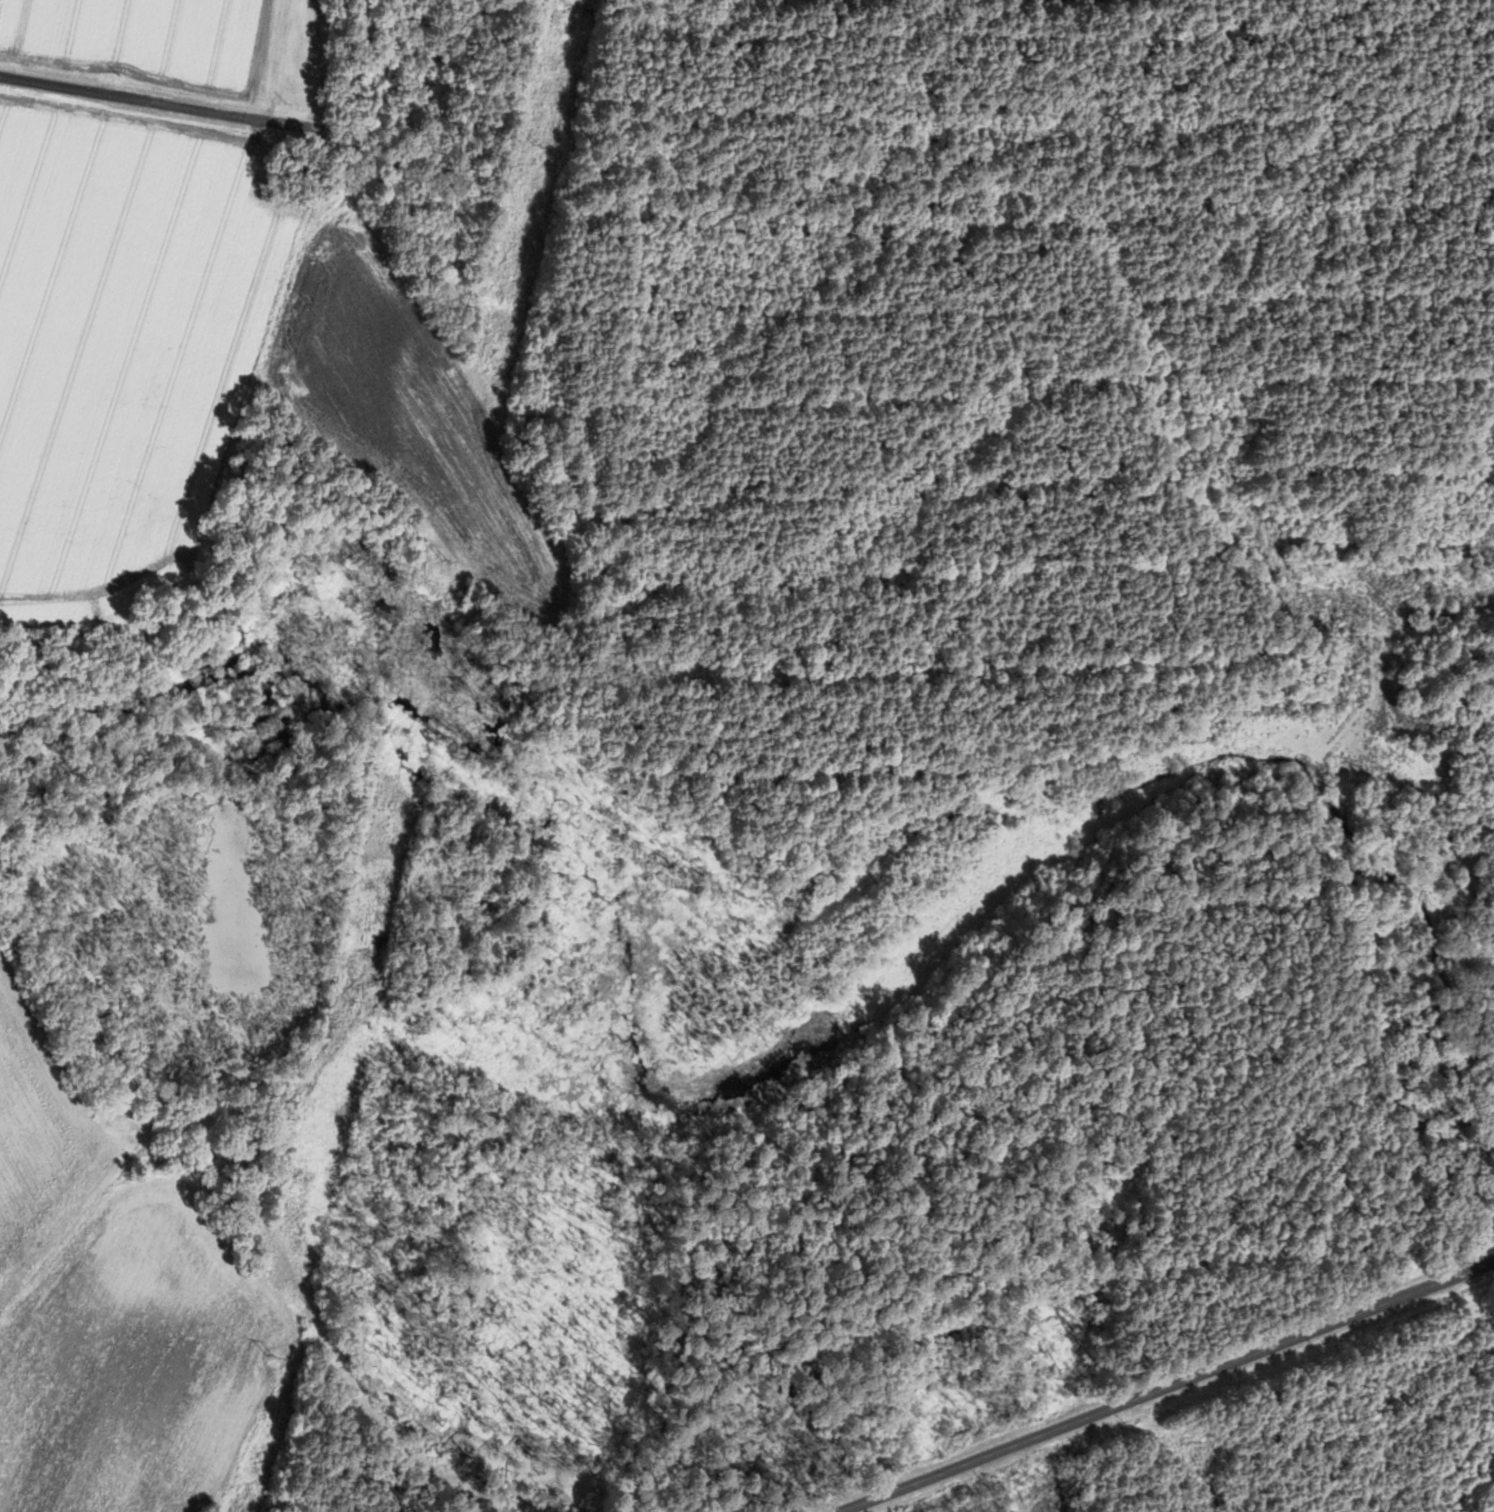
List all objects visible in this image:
road: (144, 99)
power tower: (542, 143)
power tower: (452, 562)
power tower: (356, 999)
power tower: (278, 1351)
road: (1170, 1388)

